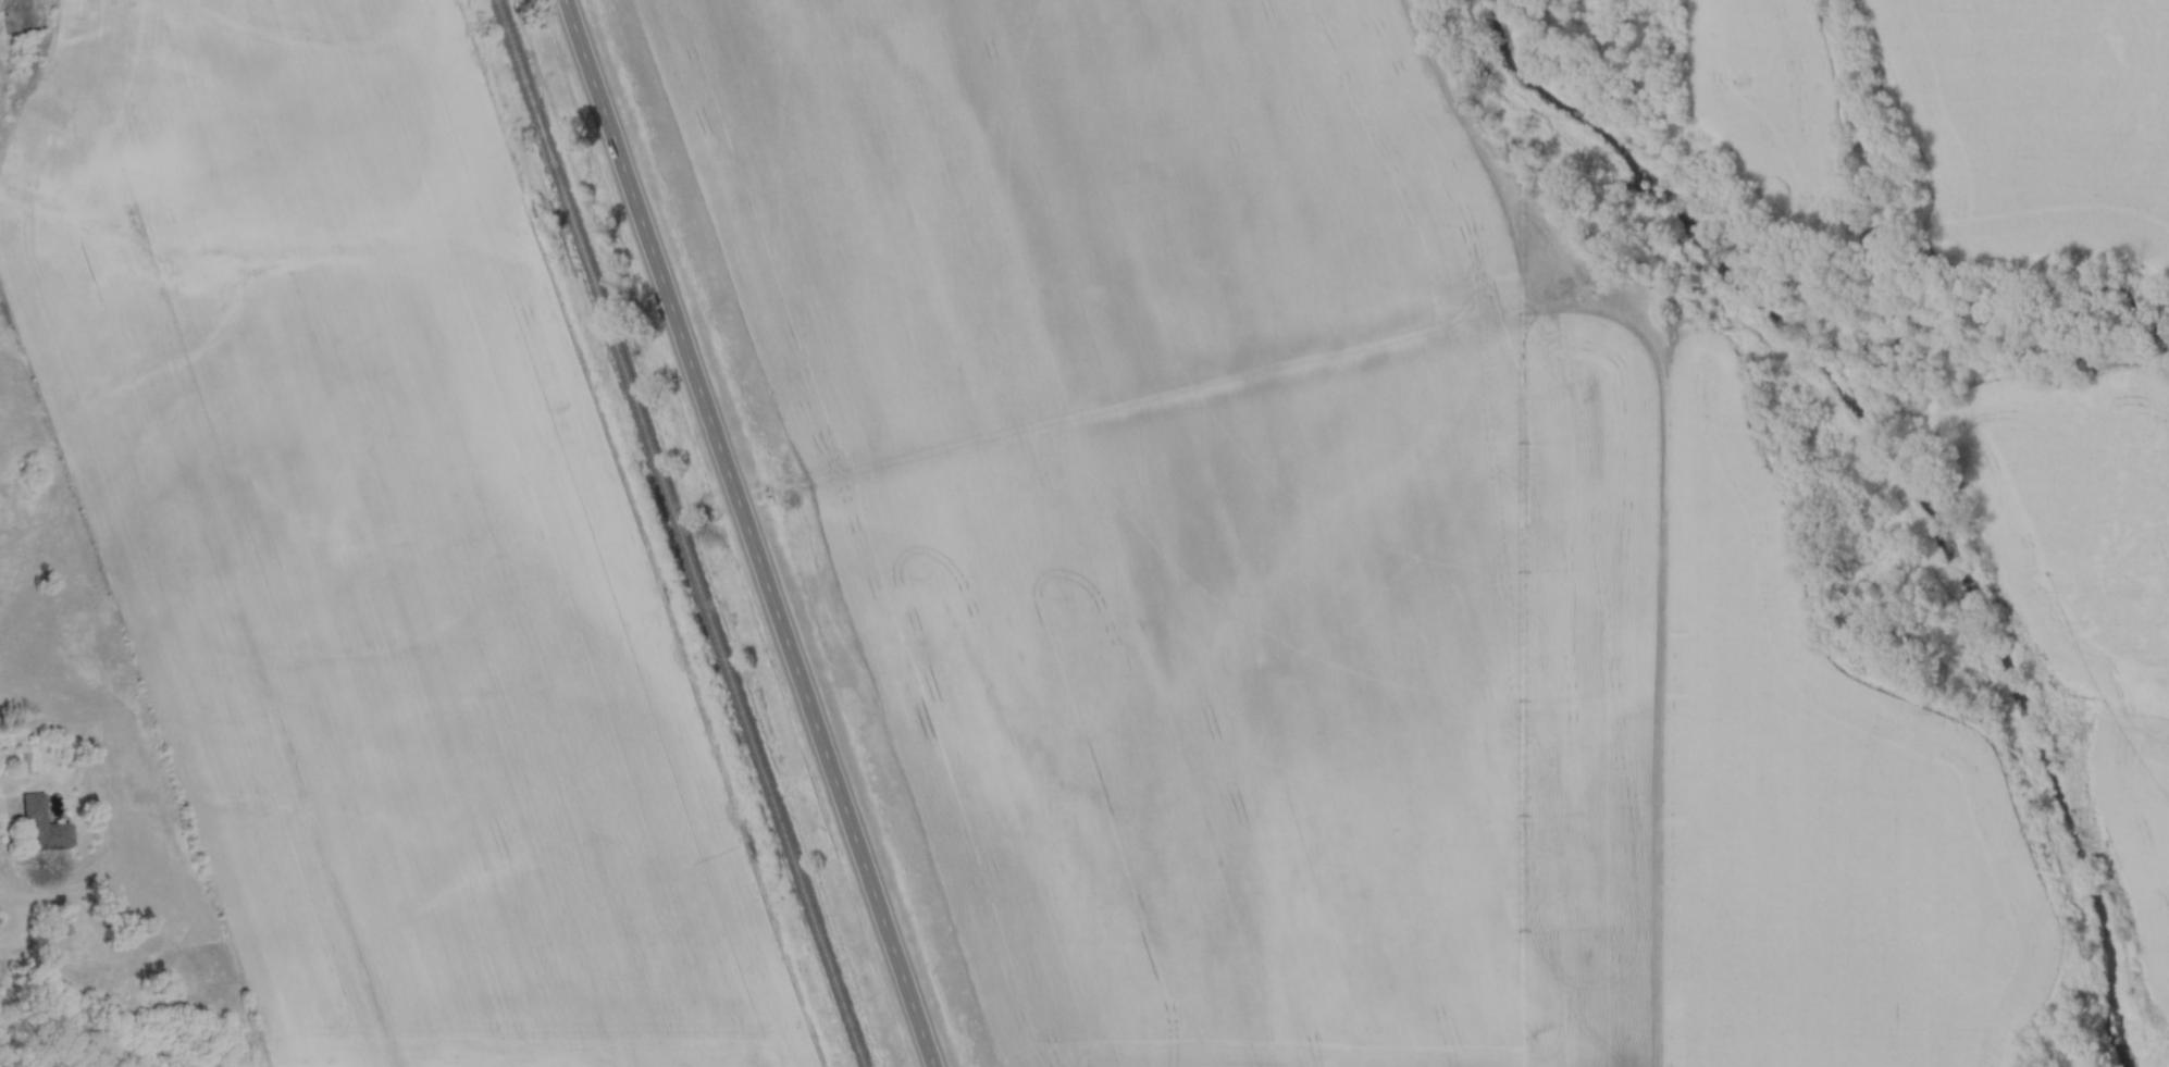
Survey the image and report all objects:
river: (1895, 473)
railway: (679, 533)
road: (752, 533)
road: (1, 803)
building: (44, 823)

